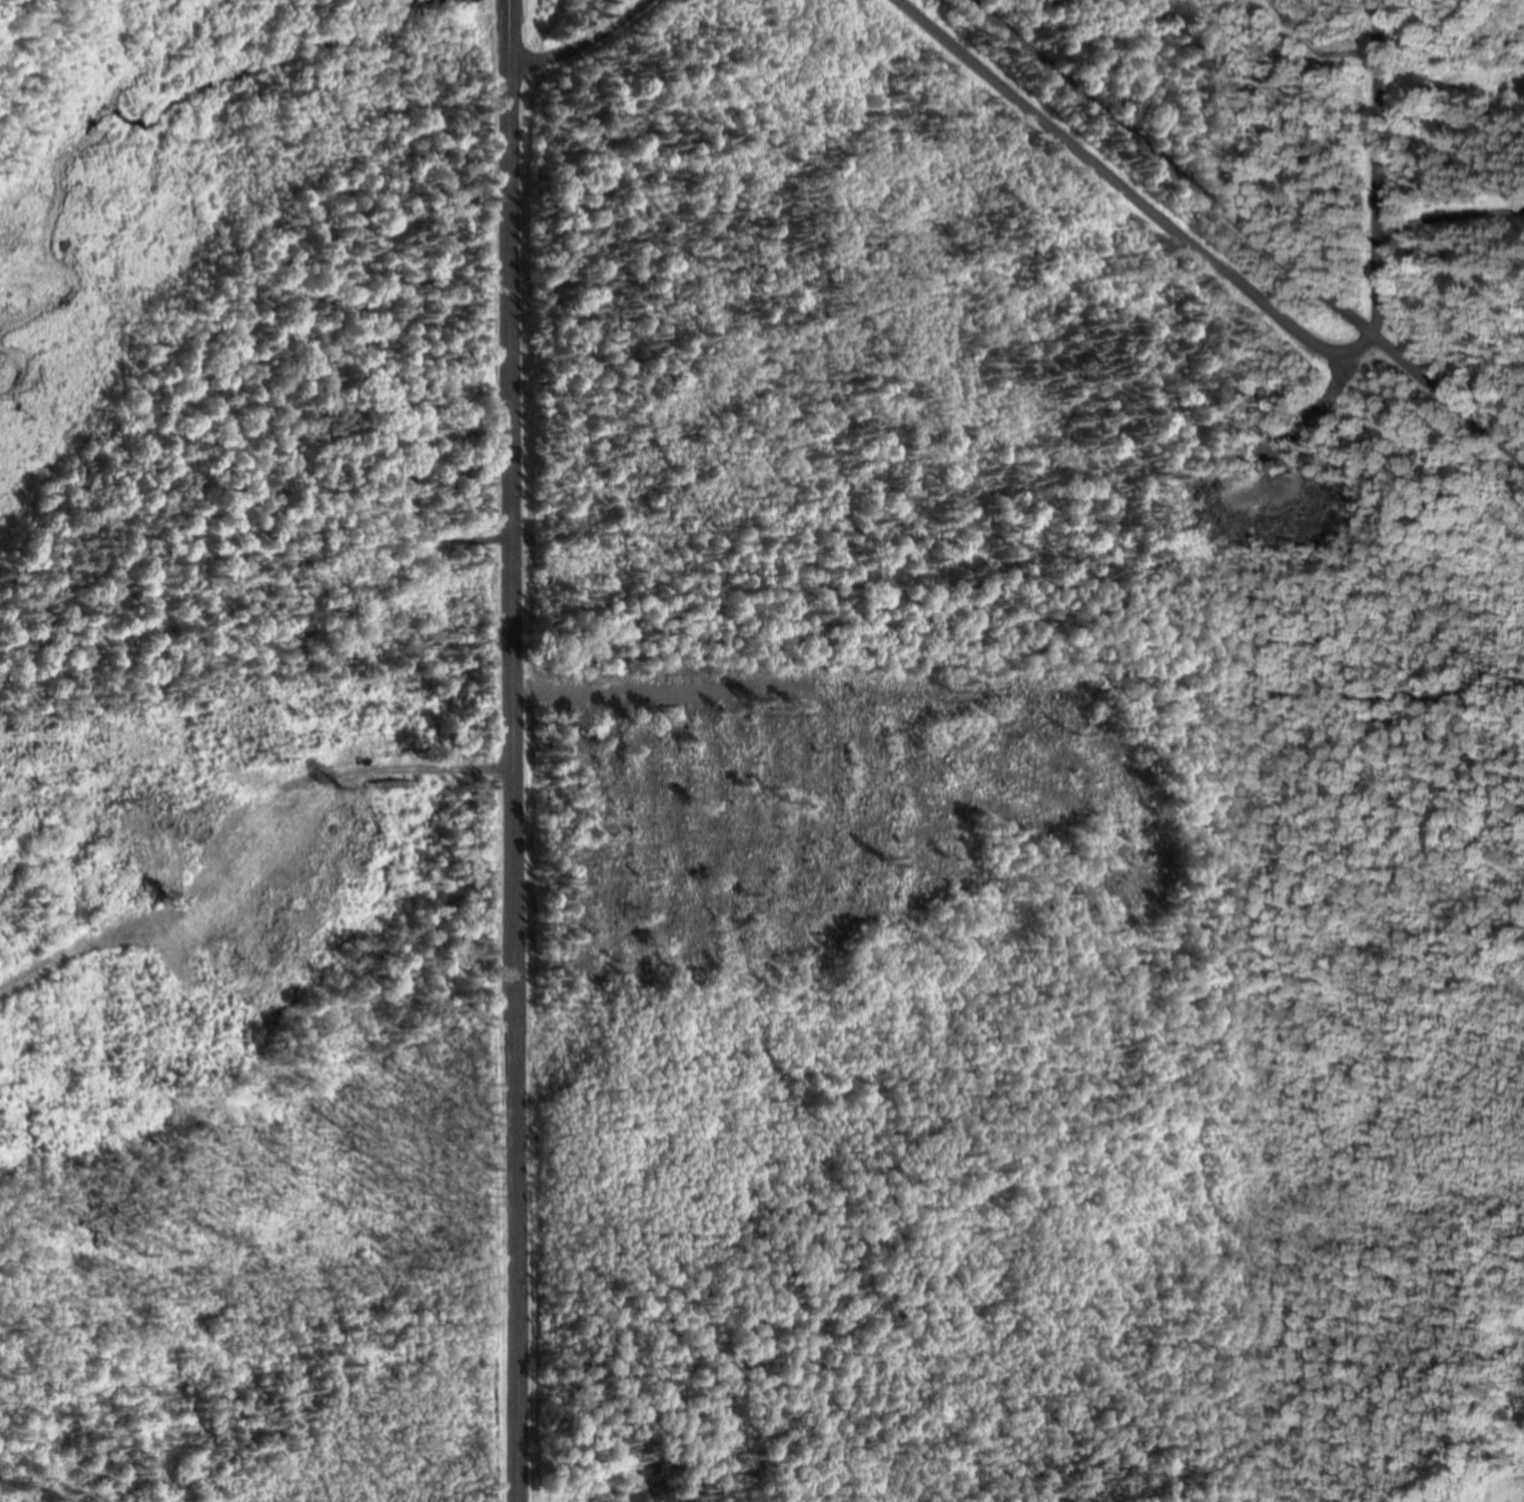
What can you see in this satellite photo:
road: (585, 46)
road: (1449, 214)
road: (1245, 232)
road: (1260, 303)
road: (515, 750)

